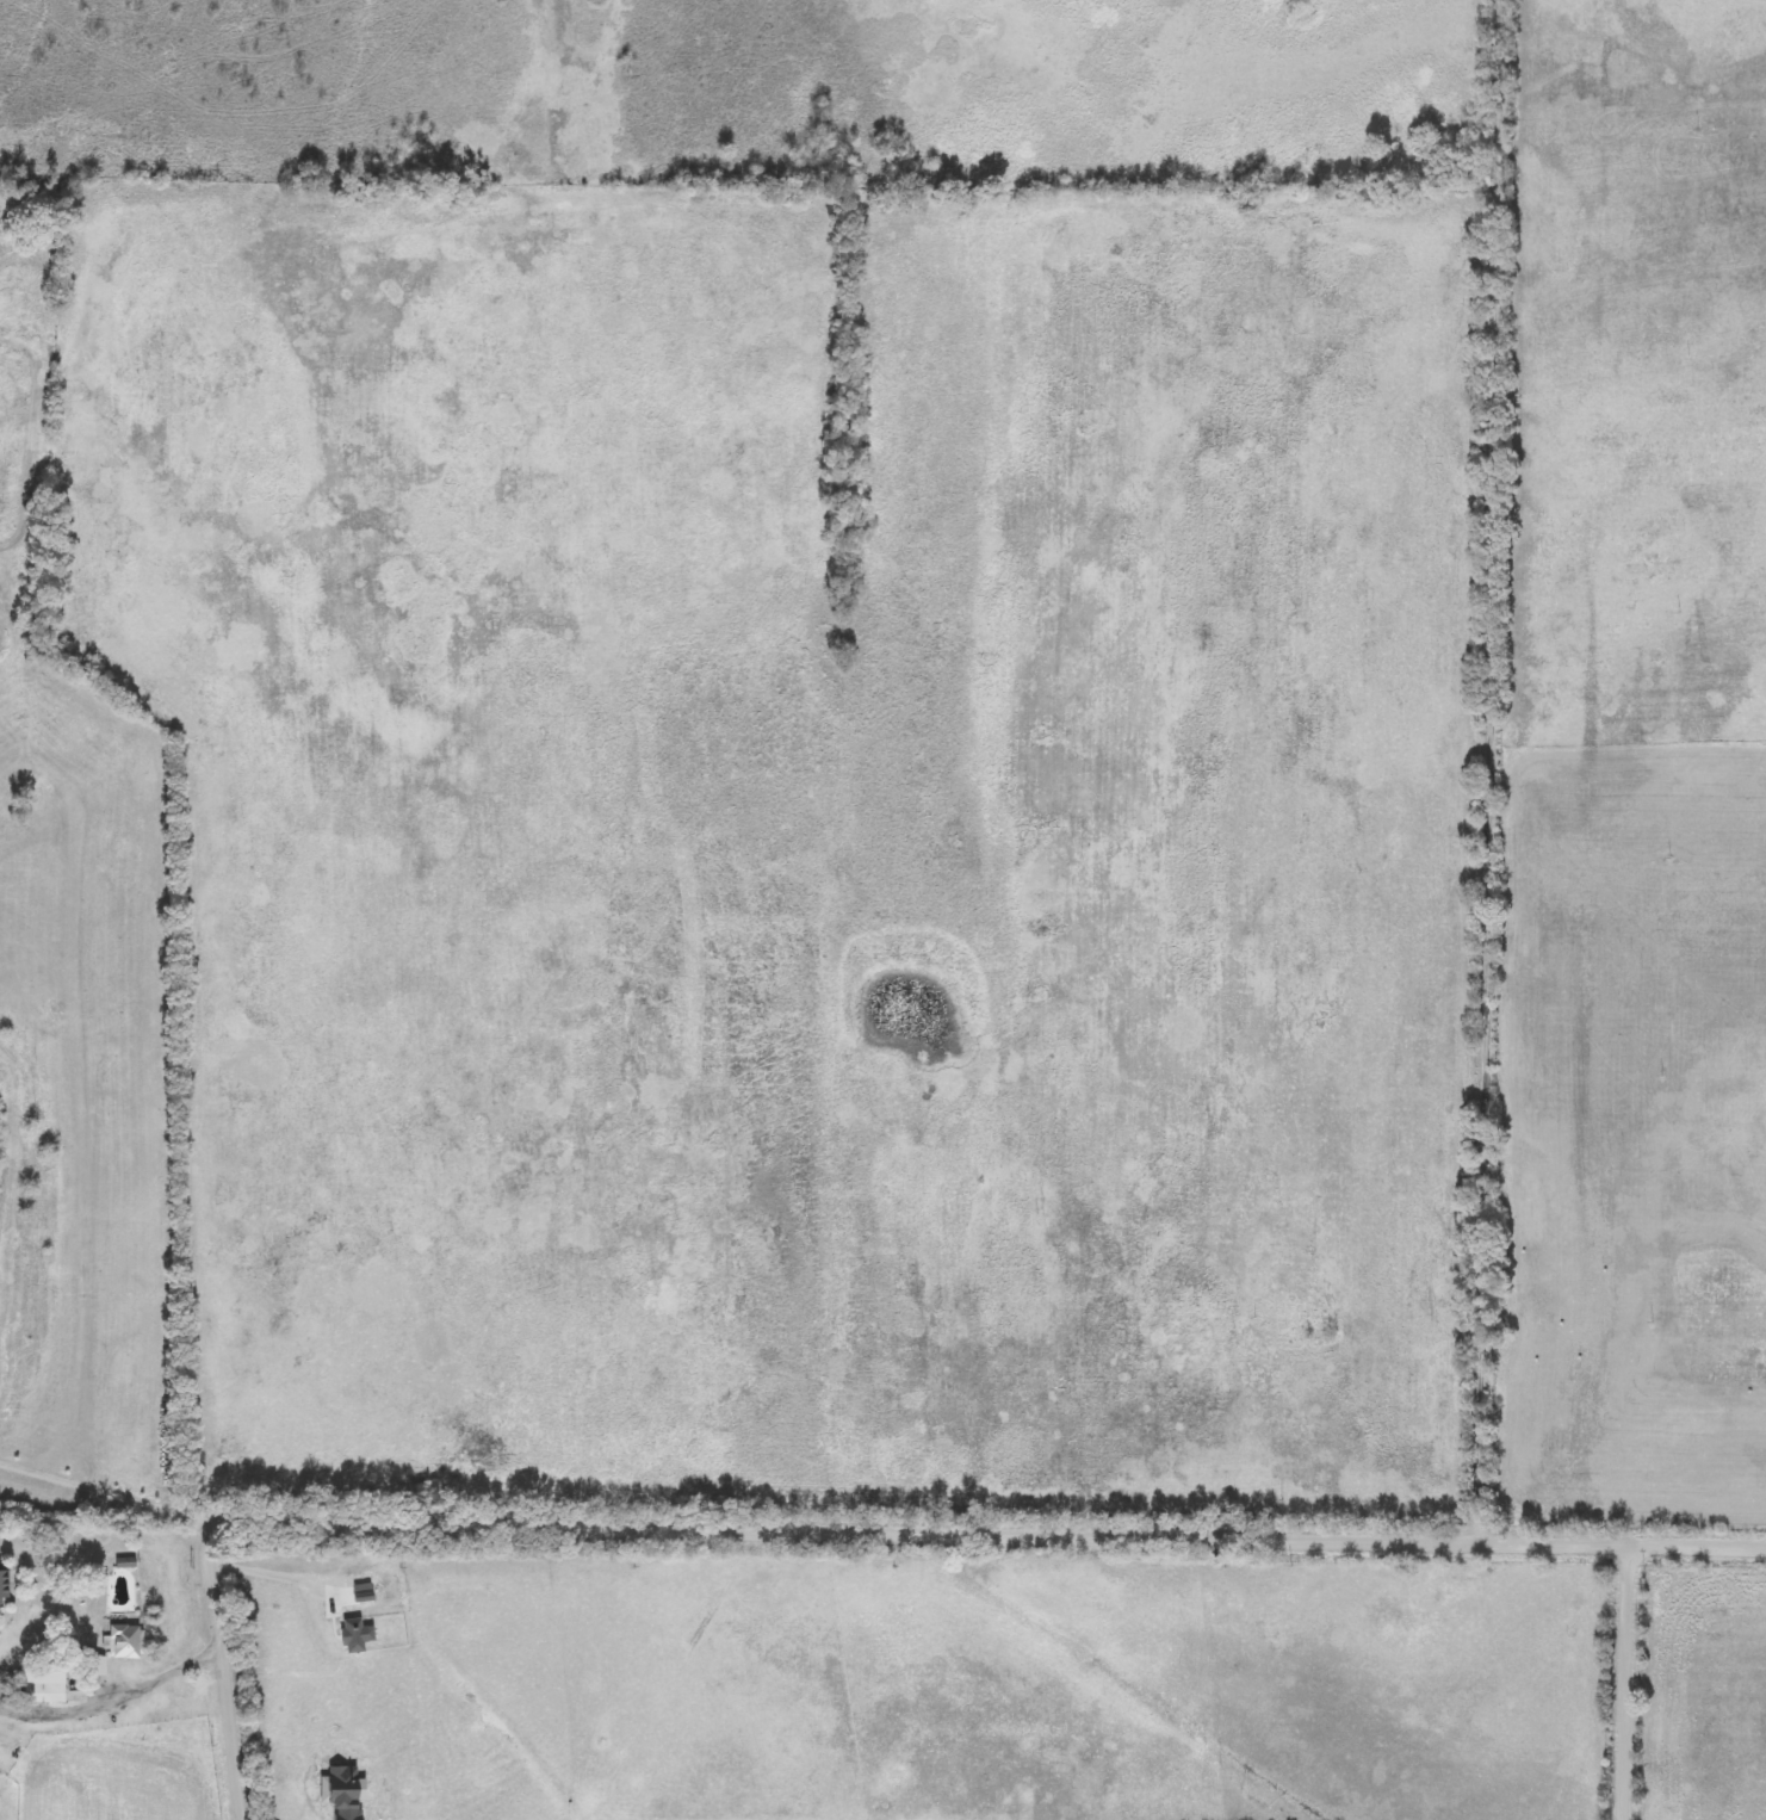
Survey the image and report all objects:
road: (1491, 770)
road: (112, 1496)
road: (935, 1528)
road: (287, 1577)
building: (4, 1585)
building: (128, 1642)
building: (97, 1667)
road: (1625, 1679)
building: (45, 1694)
road: (117, 1702)
road: (233, 1732)

